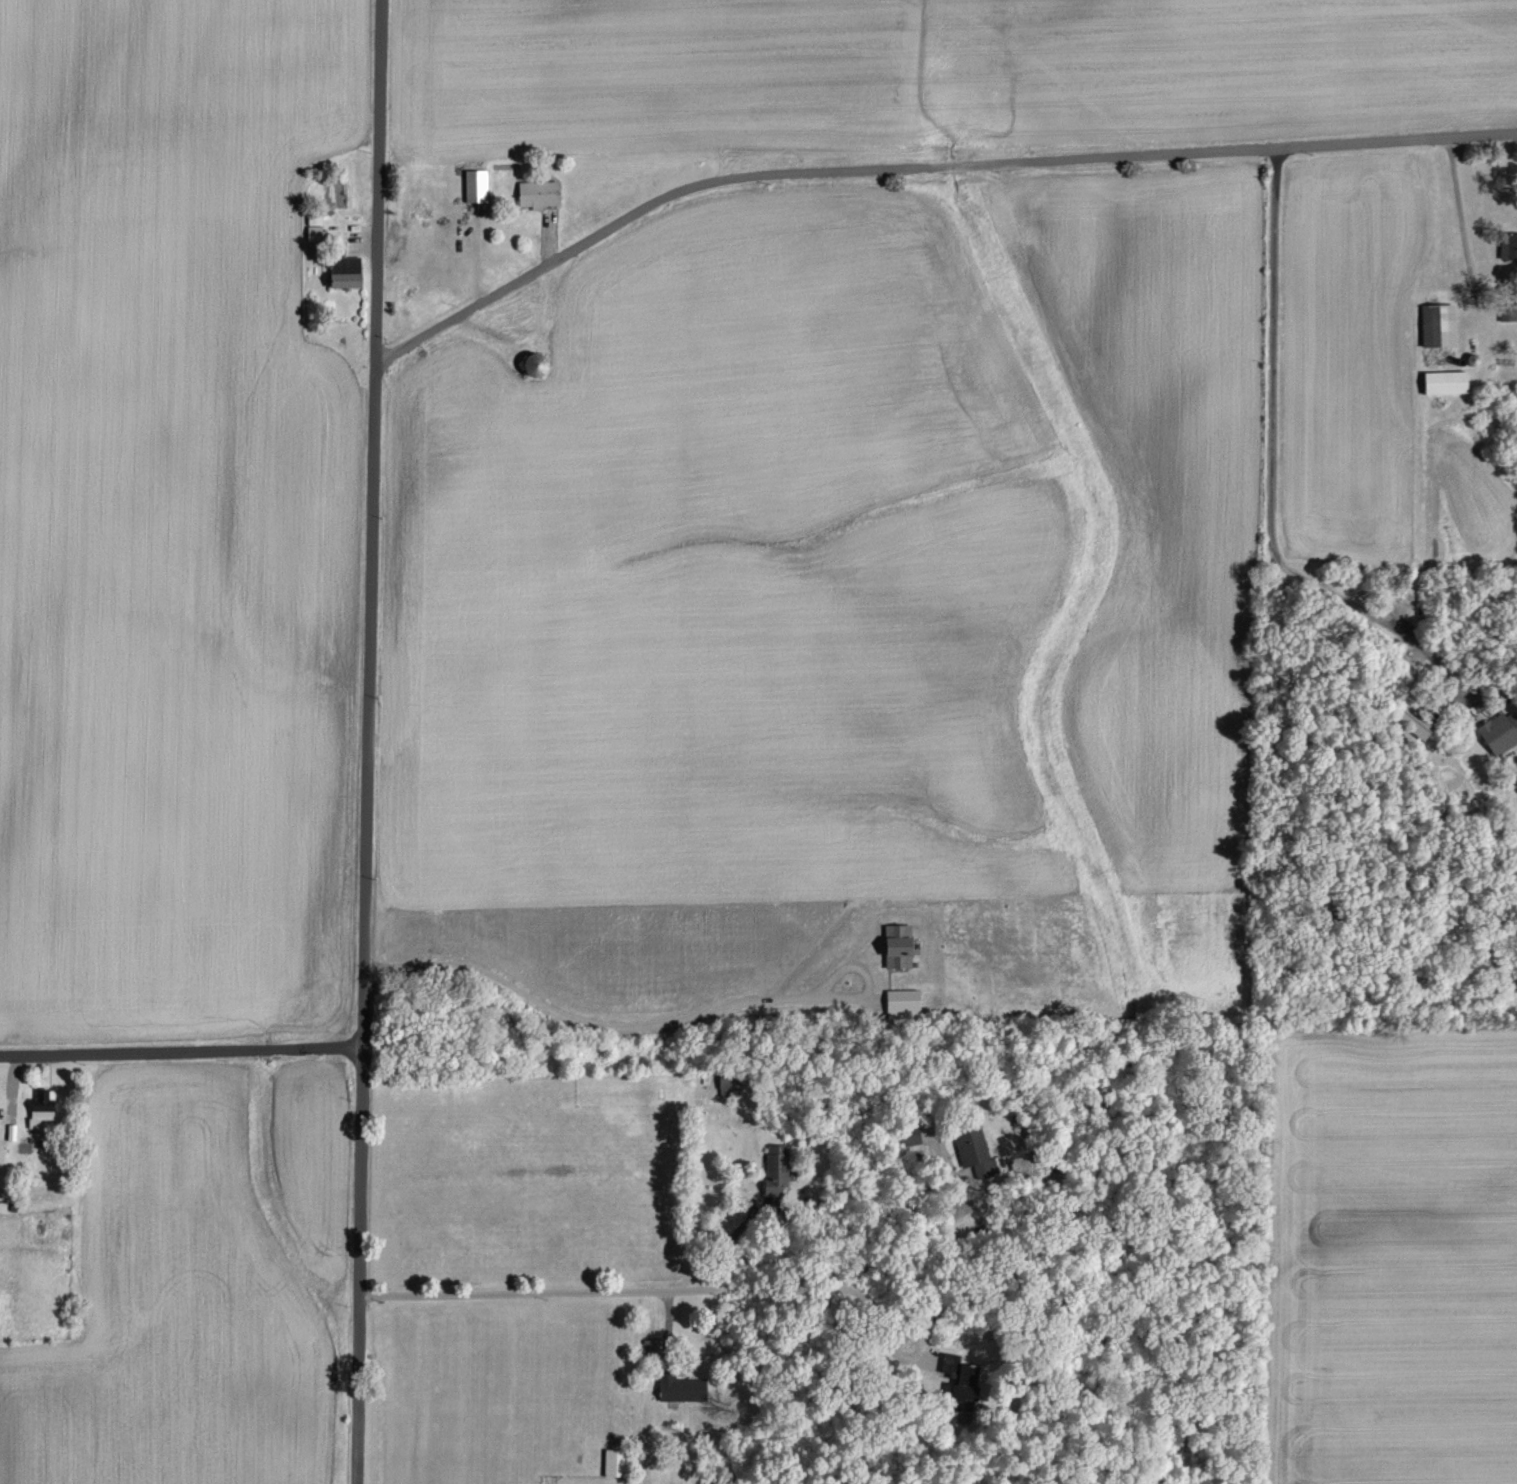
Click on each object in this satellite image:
road: (924, 163)
building: (477, 185)
building: (540, 193)
road: (1457, 209)
building: (316, 226)
building: (1511, 246)
building: (348, 260)
building: (347, 278)
building: (1440, 324)
building: (1448, 381)
road: (1275, 478)
road: (373, 522)
building: (1501, 731)
building: (900, 945)
building: (905, 1000)
road: (657, 1026)
road: (182, 1049)
building: (732, 1080)
building: (44, 1108)
building: (976, 1151)
building: (779, 1162)
road: (908, 1229)
road: (729, 1240)
road: (360, 1264)
road: (604, 1291)
road: (894, 1313)
building: (683, 1388)
building: (620, 1462)

